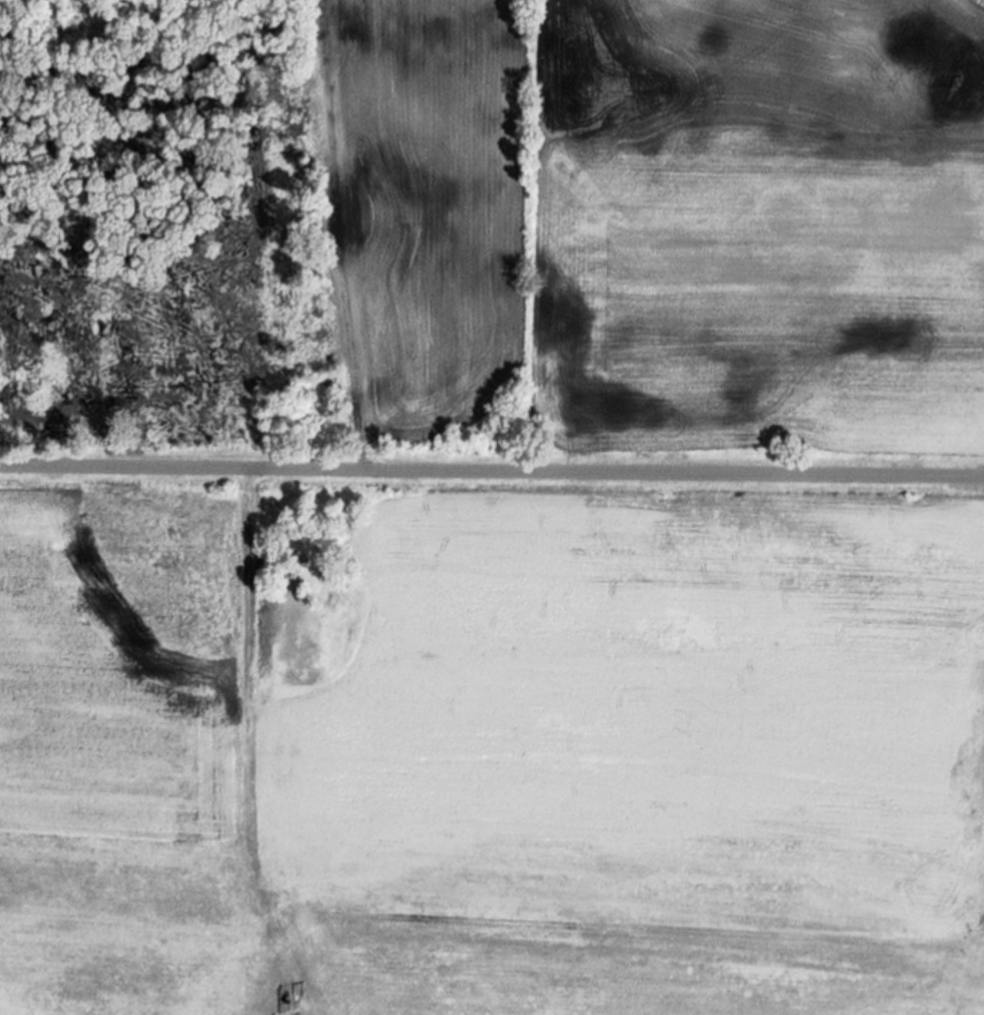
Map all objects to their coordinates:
road: (491, 472)

